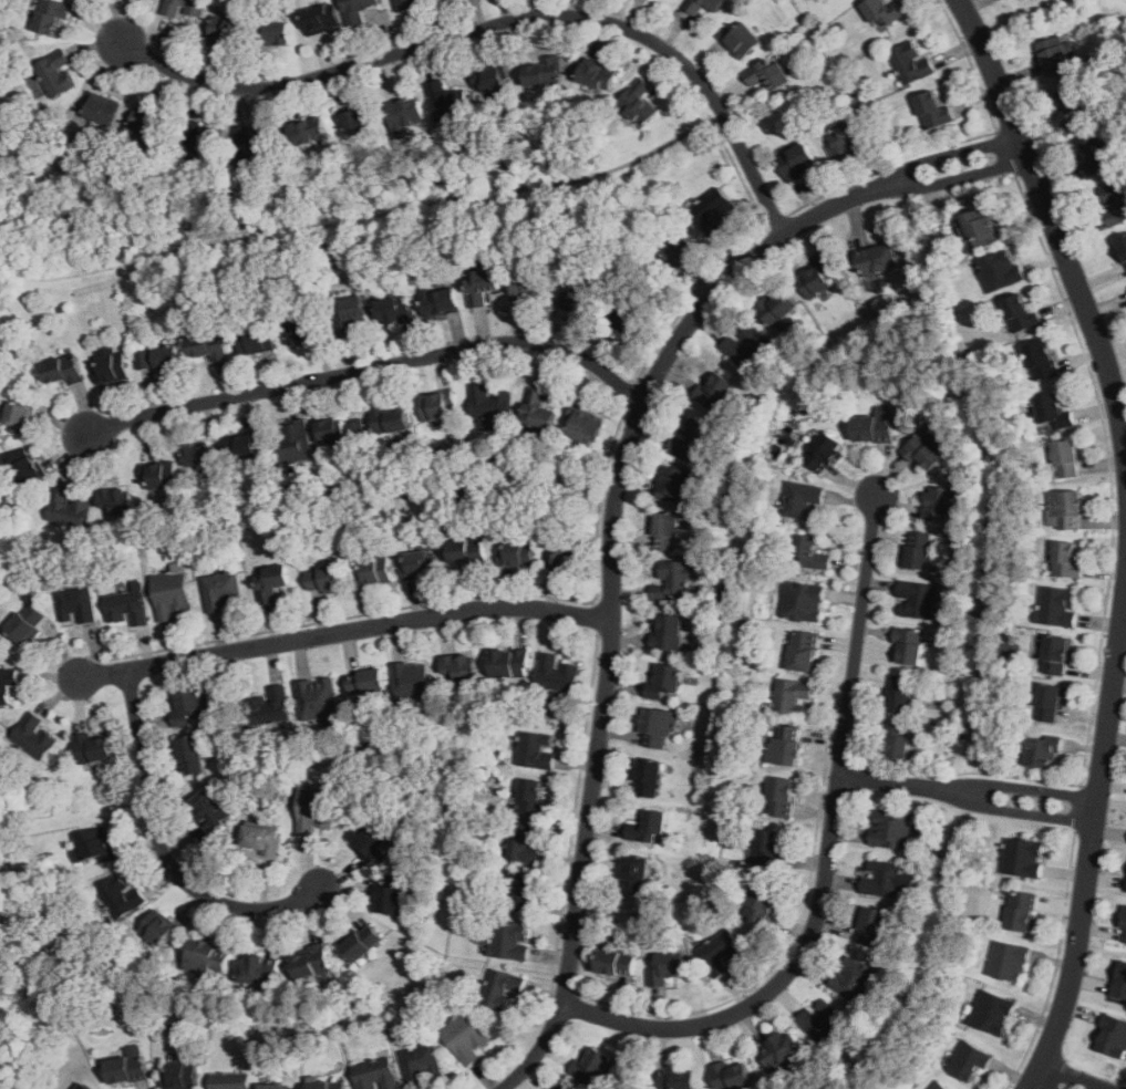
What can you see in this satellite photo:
building: (406, 3)
building: (704, 6)
building: (186, 8)
building: (358, 10)
building: (885, 12)
building: (51, 15)
building: (322, 19)
road: (500, 23)
building: (229, 31)
building: (277, 33)
building: (741, 39)
building: (1056, 51)
building: (911, 63)
road: (971, 63)
building: (546, 72)
building: (769, 73)
building: (58, 75)
building: (597, 75)
building: (490, 79)
building: (448, 101)
building: (639, 102)
building: (1076, 107)
building: (103, 110)
building: (933, 110)
building: (405, 111)
building: (358, 118)
building: (151, 124)
building: (309, 131)
building: (845, 136)
building: (203, 141)
building: (256, 144)
road: (949, 153)
road: (1005, 153)
building: (1098, 156)
building: (798, 160)
road: (890, 164)
road: (958, 178)
building: (1114, 201)
building: (713, 208)
road: (775, 221)
road: (1052, 221)
building: (982, 226)
road: (340, 227)
building: (1122, 248)
building: (679, 250)
road: (734, 253)
building: (878, 259)
building: (1002, 270)
building: (528, 282)
building: (815, 282)
building: (482, 286)
building: (581, 294)
building: (442, 302)
building: (777, 307)
building: (396, 311)
building: (350, 313)
building: (1022, 313)
building: (628, 320)
building: (301, 332)
building: (256, 340)
building: (746, 345)
building: (209, 346)
building: (158, 359)
building: (1042, 361)
building: (112, 365)
building: (63, 370)
road: (371, 370)
building: (715, 391)
road: (631, 392)
building: (492, 403)
building: (437, 406)
building: (1054, 411)
building: (538, 413)
building: (21, 417)
building: (390, 423)
building: (876, 425)
building: (586, 426)
building: (341, 432)
building: (692, 439)
building: (296, 443)
building: (242, 447)
building: (924, 450)
building: (824, 452)
building: (198, 455)
building: (1066, 458)
building: (24, 467)
road: (1109, 471)
building: (162, 476)
building: (675, 484)
building: (803, 500)
building: (117, 501)
building: (938, 504)
building: (69, 509)
building: (1066, 509)
building: (665, 531)
building: (561, 550)
building: (919, 550)
building: (467, 552)
building: (519, 552)
building: (809, 553)
building: (1066, 561)
building: (421, 564)
building: (375, 571)
building: (327, 580)
building: (674, 581)
building: (271, 582)
road: (612, 587)
building: (224, 591)
building: (172, 593)
building: (917, 600)
road: (441, 601)
building: (804, 602)
building: (78, 604)
building: (1058, 606)
building: (127, 608)
road: (596, 616)
road: (1124, 619)
building: (27, 624)
road: (344, 632)
building: (669, 633)
building: (910, 645)
building: (804, 652)
building: (1057, 655)
building: (510, 664)
building: (461, 667)
building: (558, 673)
building: (414, 680)
building: (665, 680)
building: (366, 682)
building: (7, 685)
building: (902, 696)
building: (793, 697)
building: (319, 698)
building: (1051, 702)
building: (188, 706)
building: (270, 706)
building: (658, 727)
building: (34, 736)
building: (897, 740)
building: (786, 745)
building: (93, 748)
building: (537, 749)
building: (1042, 753)
building: (190, 756)
road: (843, 761)
road: (969, 772)
building: (649, 778)
road: (909, 785)
road: (1036, 791)
building: (782, 797)
building: (533, 798)
building: (211, 809)
road: (1081, 809)
building: (316, 810)
road: (575, 810)
road: (1034, 812)
building: (649, 827)
building: (892, 829)
building: (261, 838)
building: (368, 840)
road: (1092, 840)
building: (96, 844)
building: (524, 844)
building: (768, 848)
road: (163, 851)
building: (1024, 857)
road: (828, 859)
building: (636, 873)
building: (882, 878)
building: (523, 892)
building: (122, 895)
building: (389, 900)
building: (762, 904)
building: (1022, 911)
building: (872, 926)
building: (162, 930)
building: (1124, 932)
building: (510, 940)
building: (361, 944)
building: (721, 948)
building: (209, 956)
building: (1009, 961)
building: (313, 963)
building: (617, 963)
road: (775, 963)
building: (669, 967)
road: (1054, 967)
building: (259, 971)
building: (855, 979)
building: (1120, 981)
building: (502, 989)
road: (566, 994)
building: (992, 1013)
building: (820, 1020)
building: (1113, 1037)
building: (466, 1038)
building: (781, 1050)
building: (969, 1060)
building: (422, 1064)
building: (127, 1066)
building: (592, 1067)
building: (375, 1075)
building: (180, 1076)
building: (732, 1076)
building: (678, 1080)
road: (1058, 1080)
building: (231, 1081)
building: (330, 1085)
building: (939, 1086)
building: (85, 1087)
building: (273, 1087)
building: (562, 1087)

